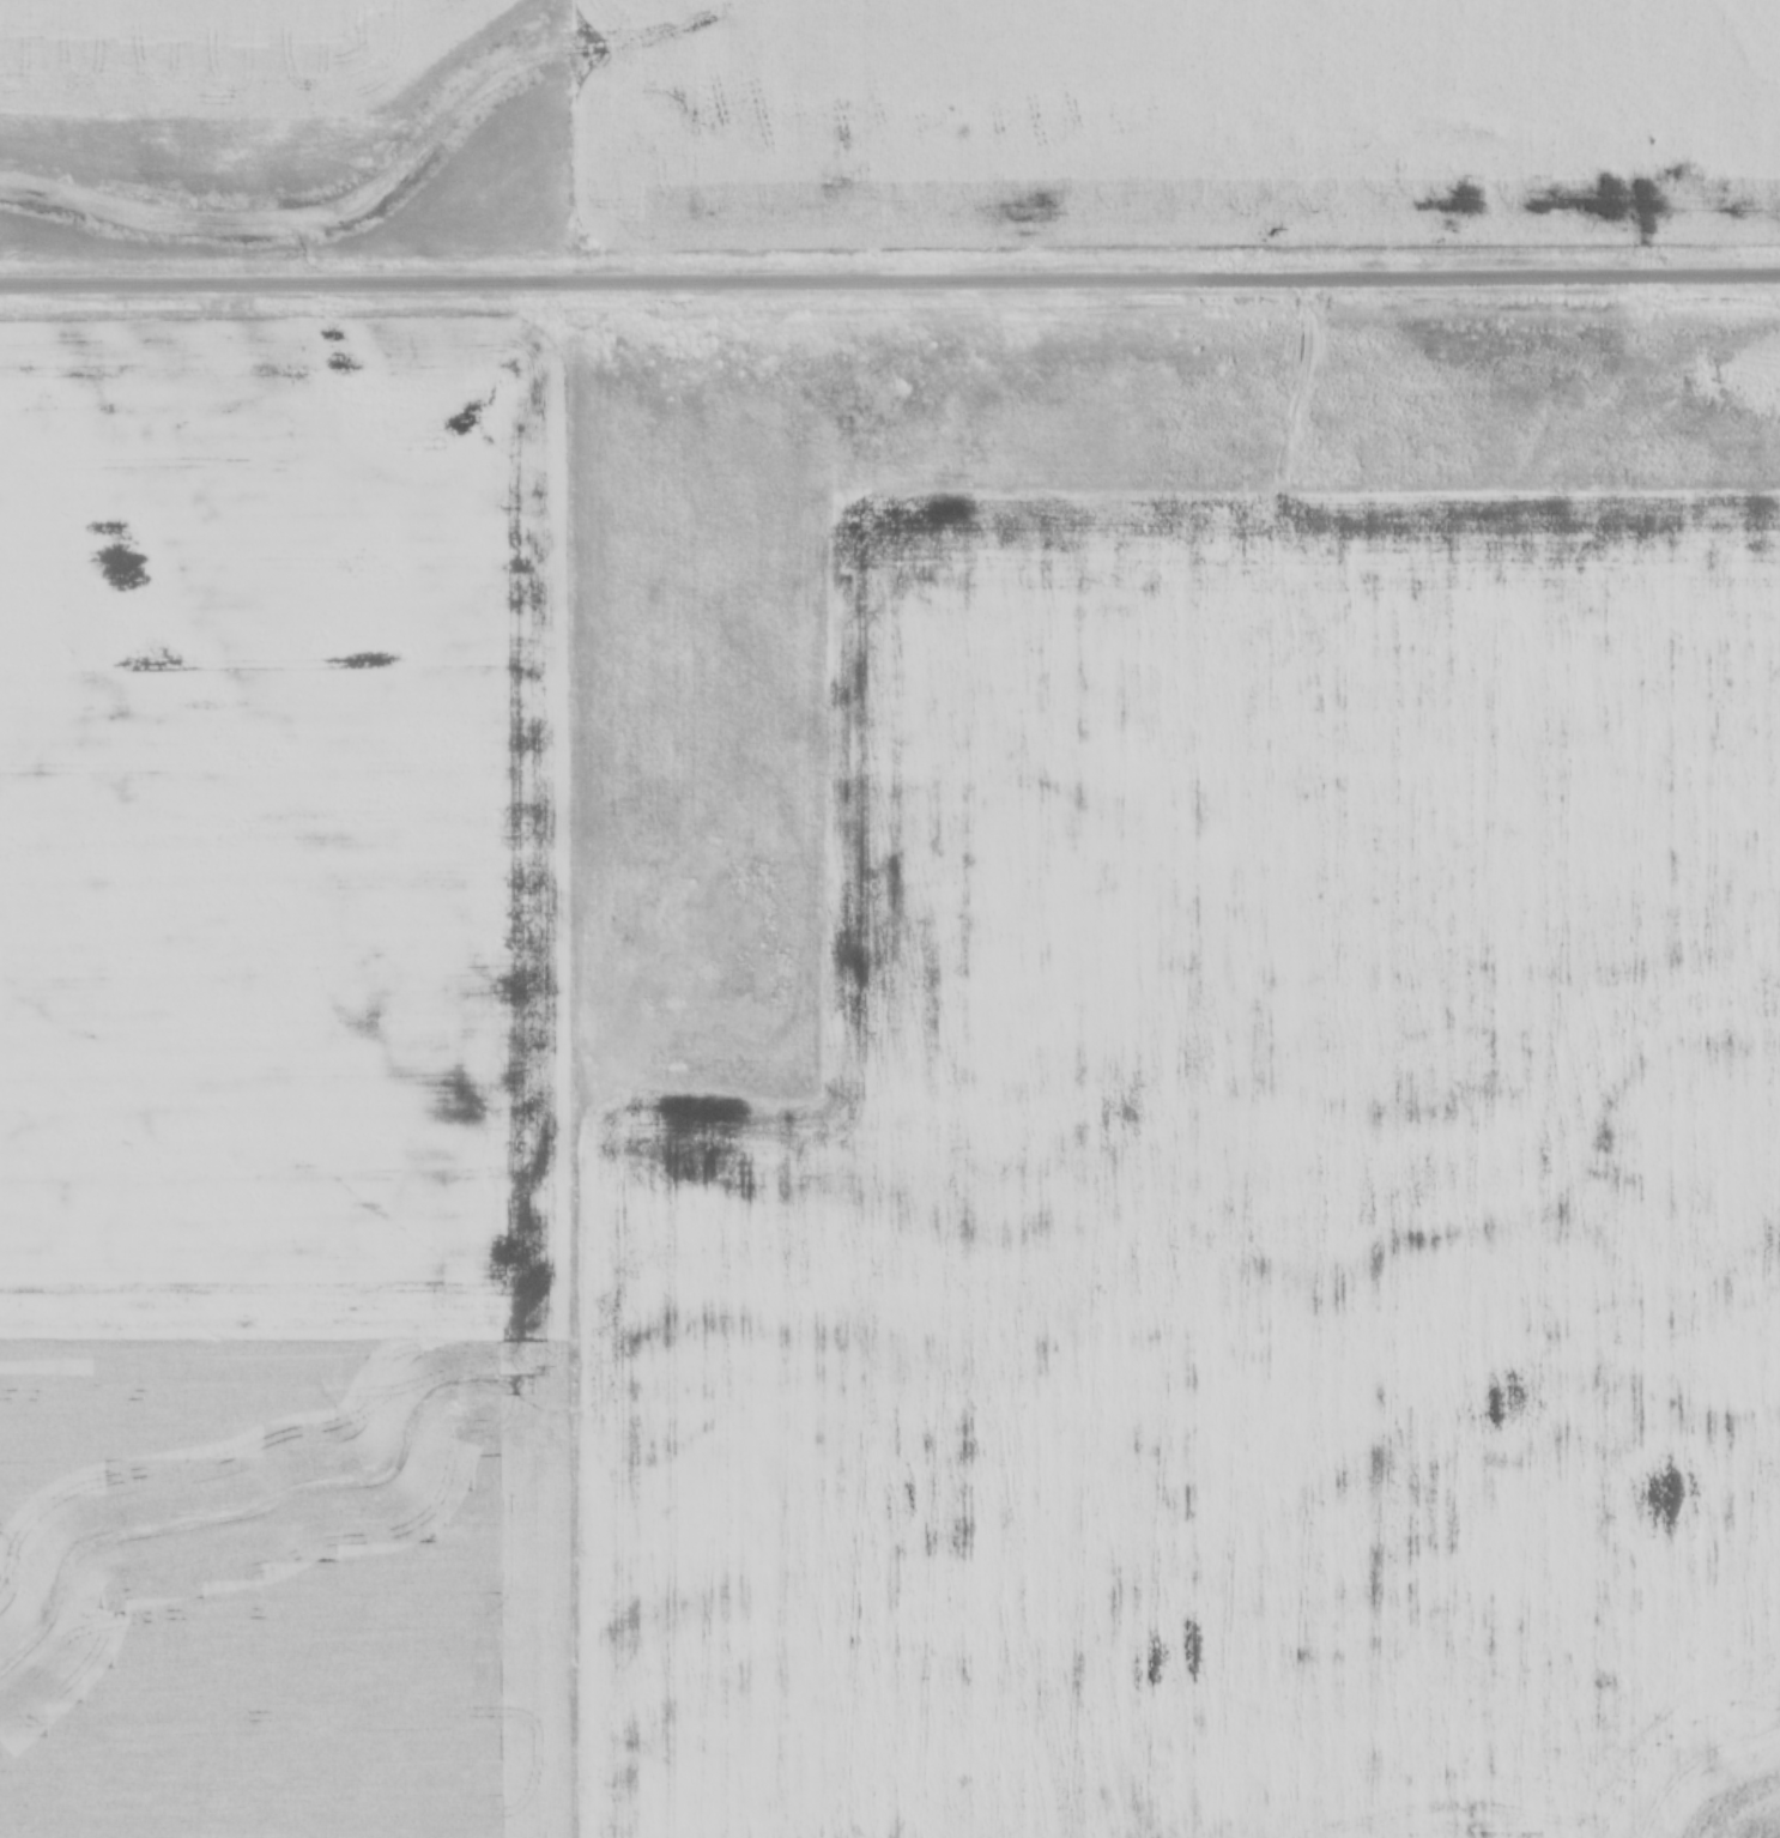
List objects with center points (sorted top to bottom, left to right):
road: (890, 267)

